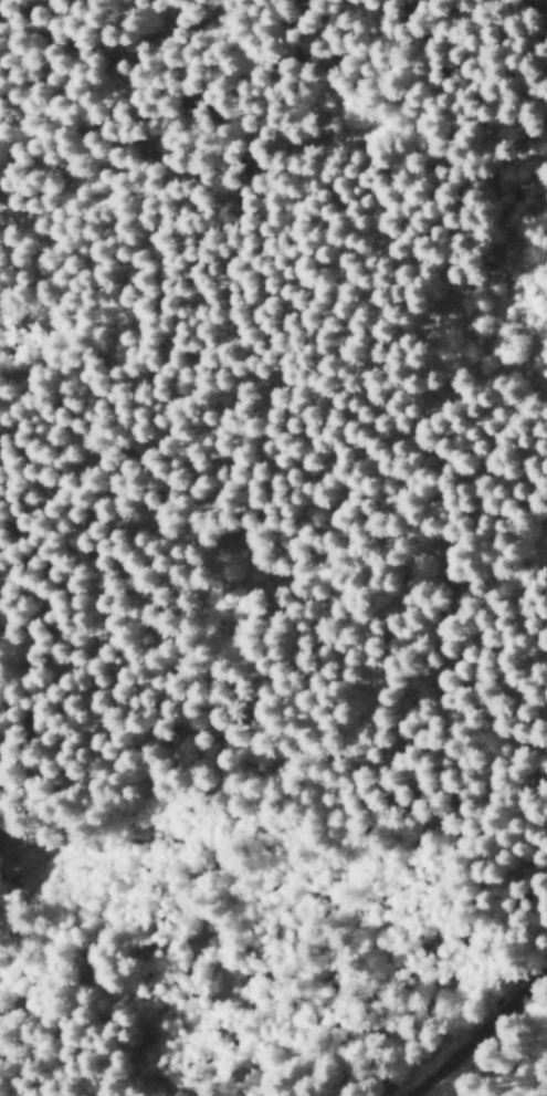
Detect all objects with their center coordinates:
road: (264, 893)

